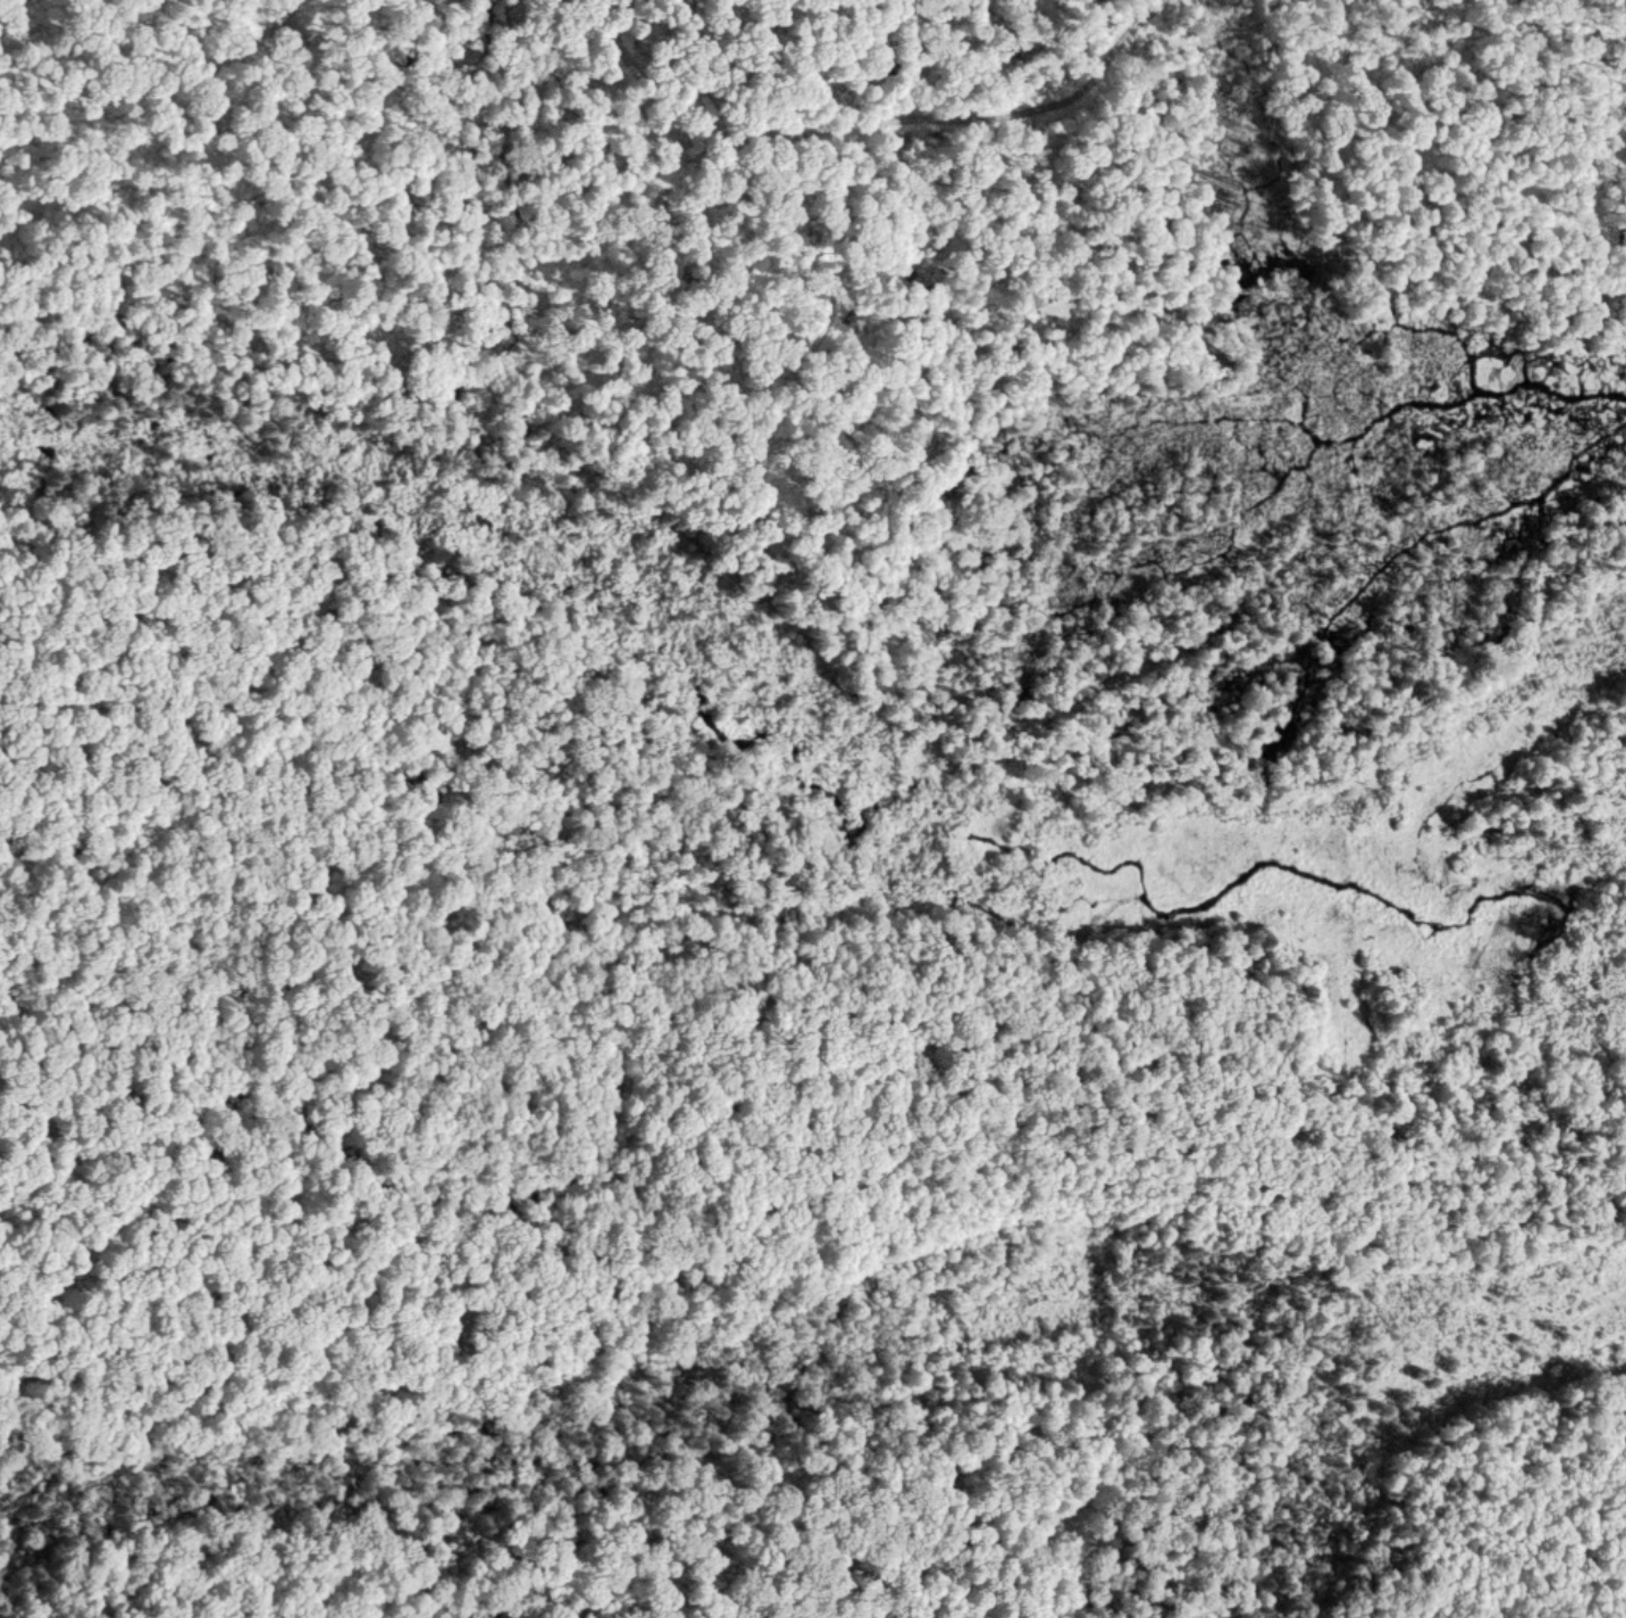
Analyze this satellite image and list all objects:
road: (644, 119)

